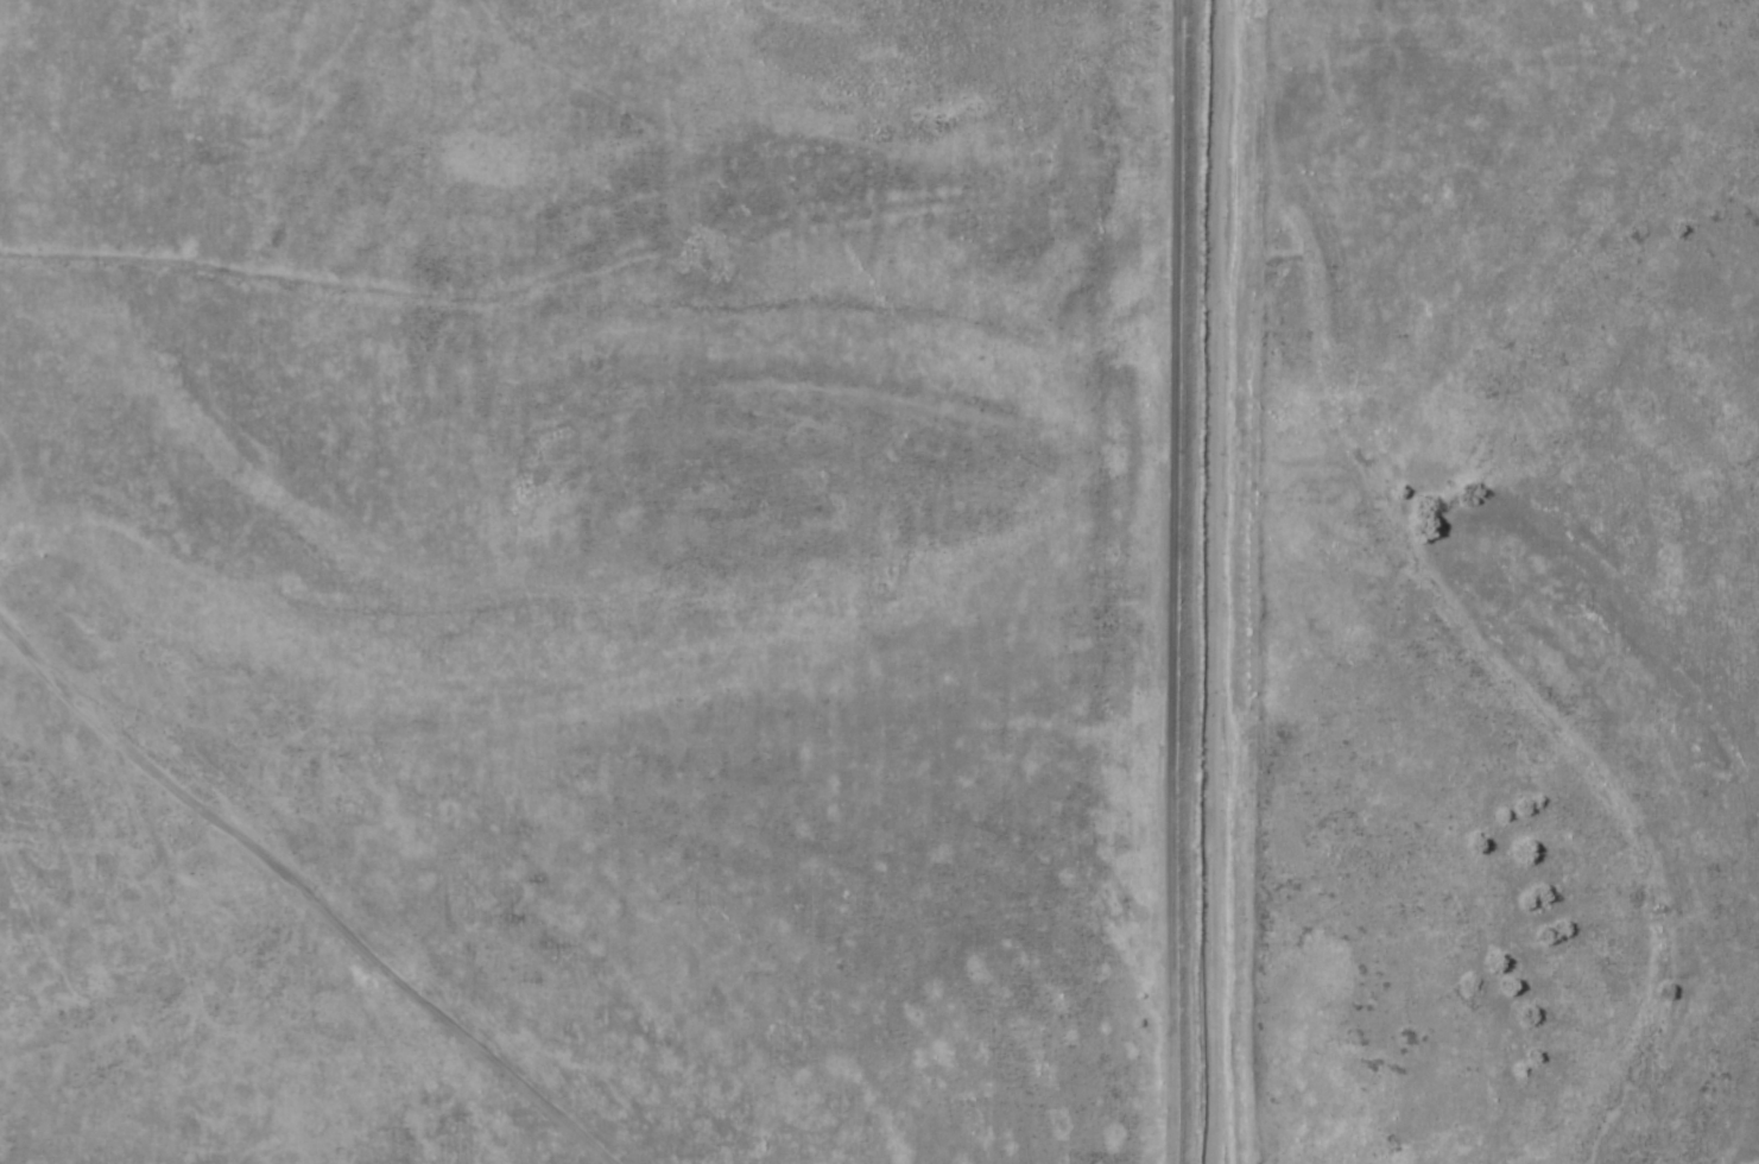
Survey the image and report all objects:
road: (1160, 582)
road: (1341, 582)
road: (349, 872)

